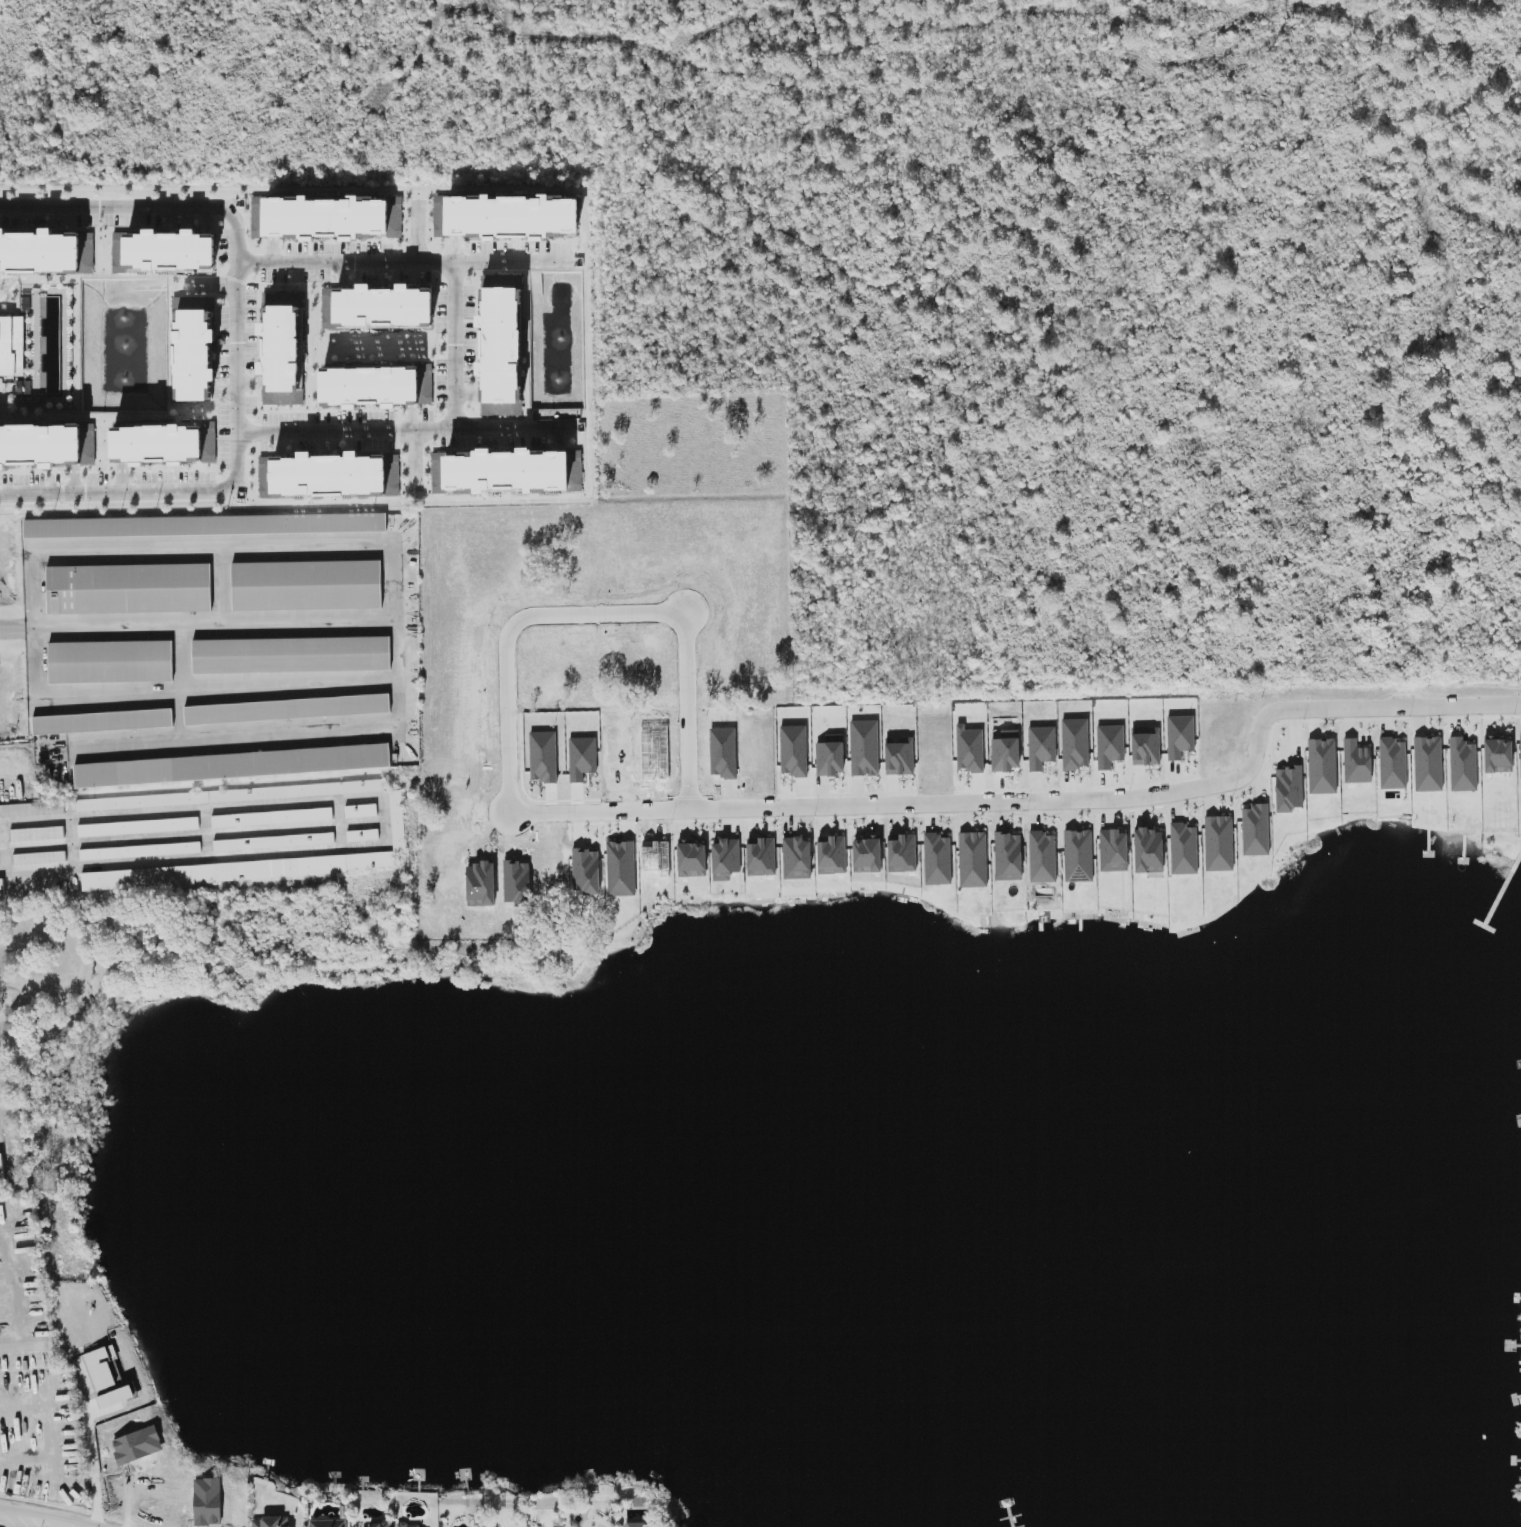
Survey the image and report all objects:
building: (257, 216)
building: (505, 217)
building: (332, 218)
building: (163, 251)
building: (40, 252)
road: (402, 261)
building: (384, 306)
building: (281, 345)
road: (456, 345)
building: (501, 345)
building: (12, 346)
road: (237, 347)
building: (376, 386)
road: (399, 430)
building: (40, 445)
building: (164, 445)
building: (500, 472)
building: (330, 475)
building: (576, 476)
building: (207, 525)
road: (220, 581)
road: (30, 582)
building: (307, 585)
building: (129, 588)
road: (593, 617)
road: (395, 635)
building: (292, 654)
road: (180, 655)
building: (111, 661)
building: (288, 709)
road: (178, 712)
building: (103, 721)
building: (1180, 736)
building: (1075, 743)
building: (1041, 746)
building: (864, 748)
building: (970, 749)
building: (794, 751)
building: (1006, 752)
building: (1498, 754)
building: (900, 755)
building: (1520, 756)
building: (1357, 762)
building: (1393, 763)
building: (1428, 763)
building: (232, 765)
building: (1463, 765)
building: (1322, 766)
building: (219, 796)
road: (1038, 796)
building: (31, 811)
building: (271, 817)
road: (385, 821)
building: (138, 826)
building: (316, 829)
building: (1256, 830)
building: (37, 834)
building: (274, 841)
building: (1219, 843)
building: (134, 849)
building: (1183, 849)
building: (1113, 850)
building: (1149, 851)
building: (902, 853)
building: (832, 854)
building: (867, 854)
building: (1078, 855)
building: (761, 856)
building: (1043, 857)
building: (40, 858)
building: (726, 858)
building: (797, 858)
building: (937, 859)
building: (973, 859)
building: (238, 870)
building: (1, 1171)
building: (107, 1377)
road: (93, 1469)
road: (45, 1515)
building: (272, 1522)
building: (328, 1523)
building: (381, 1524)
building: (638, 1524)
building: (408, 1525)

